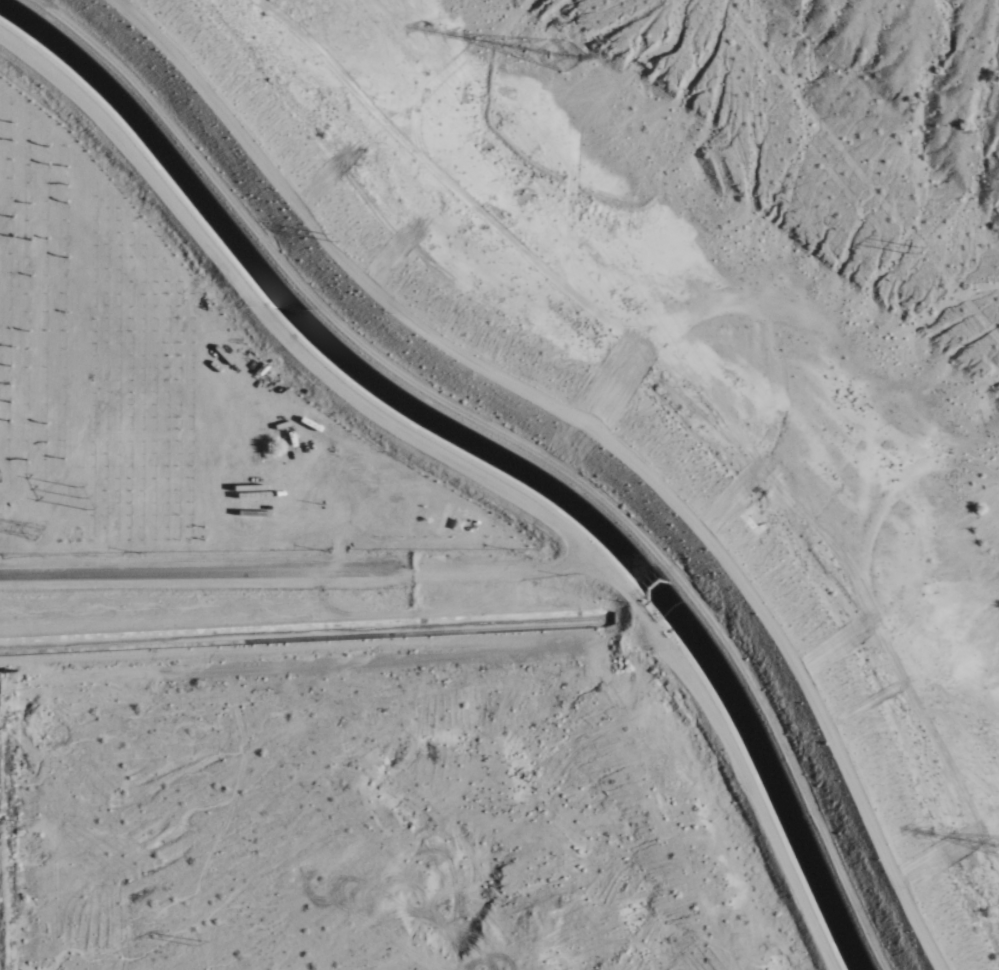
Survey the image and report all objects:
power tower: (557, 49)
power tower: (329, 240)
power tower: (913, 255)
power tower: (78, 501)
power tower: (33, 533)
road: (207, 573)
power tower: (5, 670)
road: (721, 733)
power tower: (992, 845)
power tower: (195, 943)

